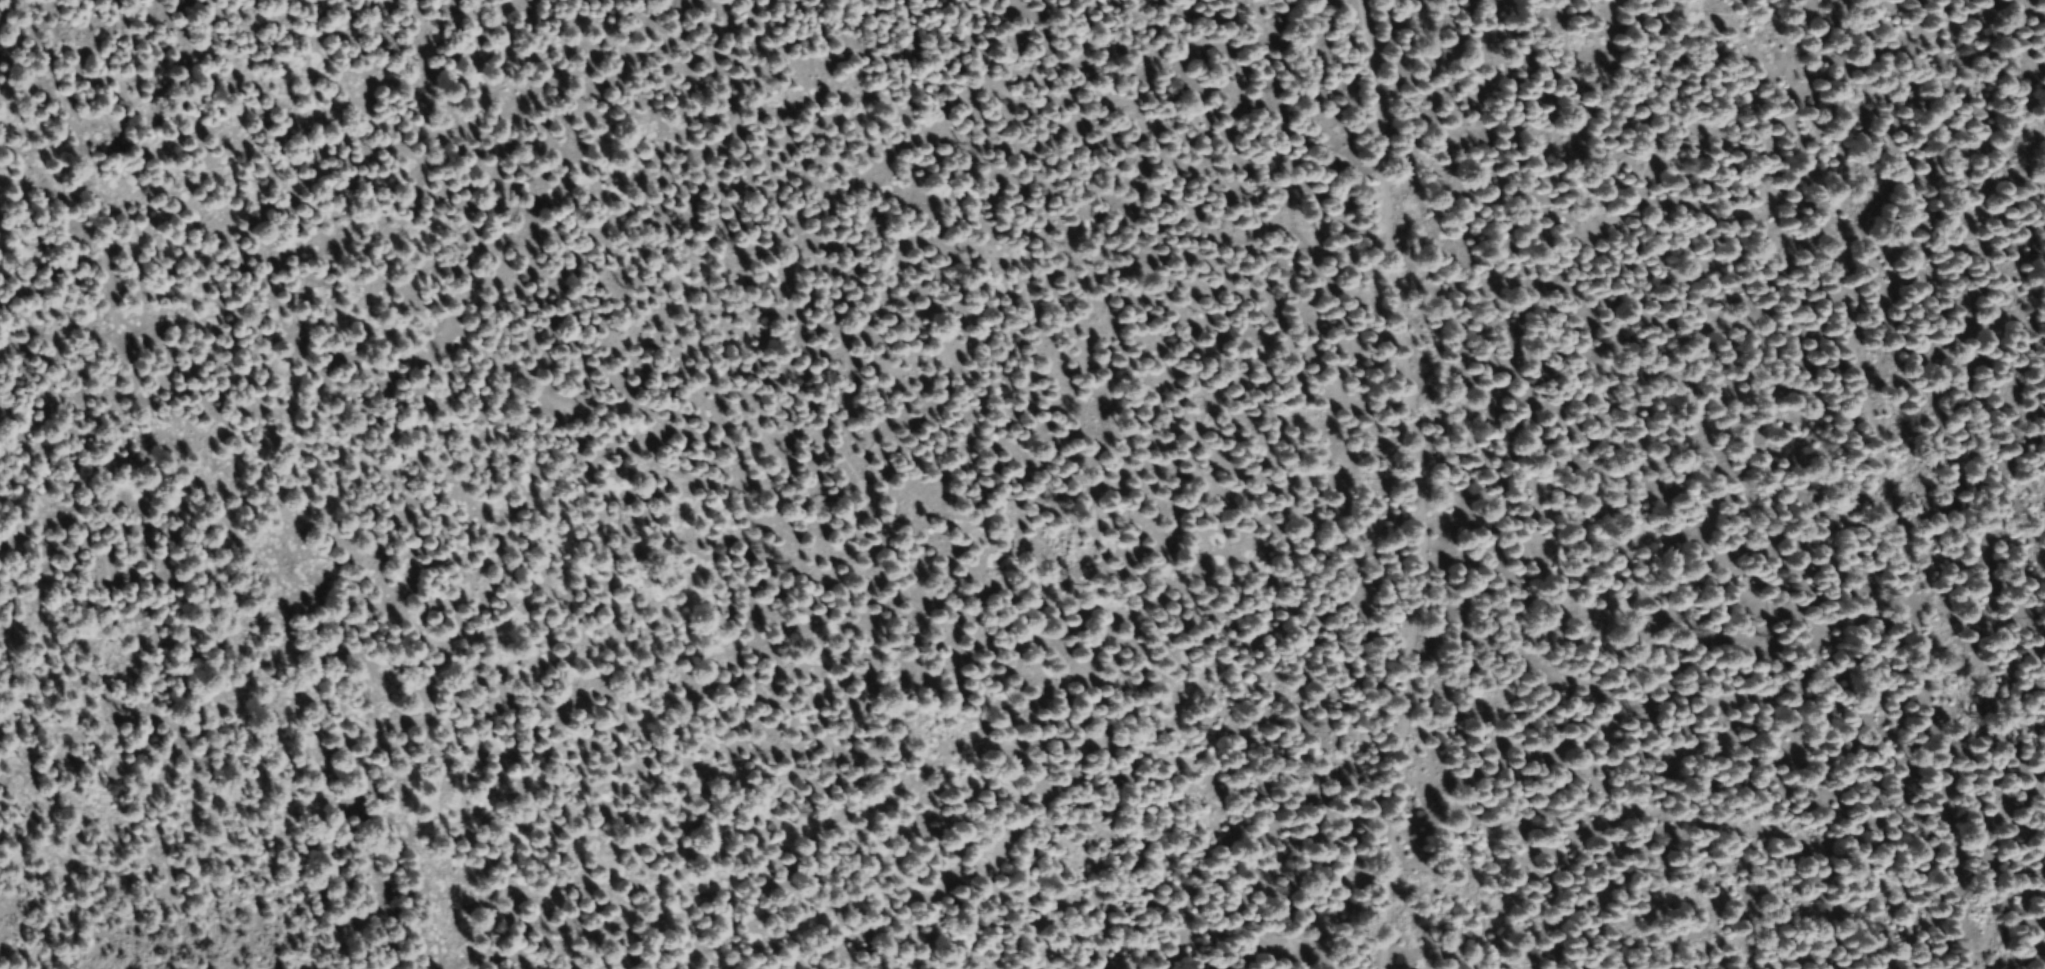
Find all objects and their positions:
road: (1313, 484)

